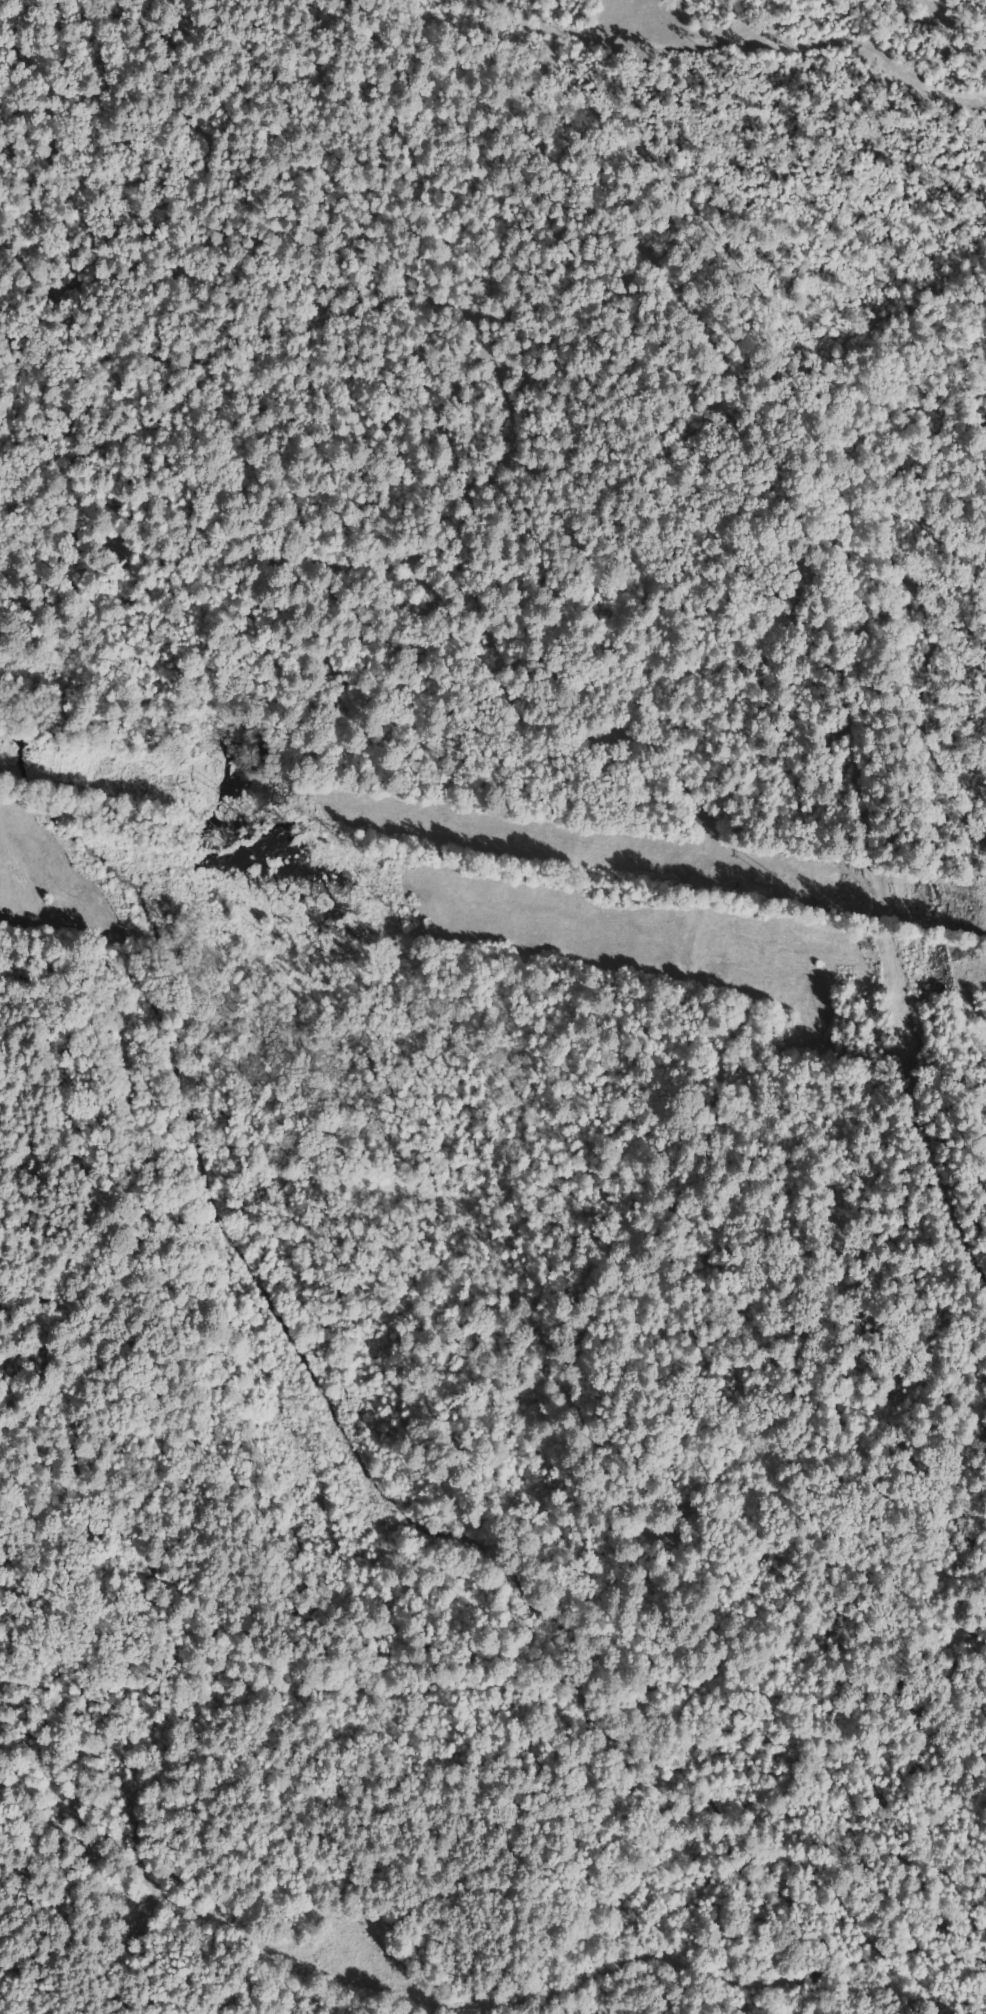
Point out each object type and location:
road: (404, 2002)

